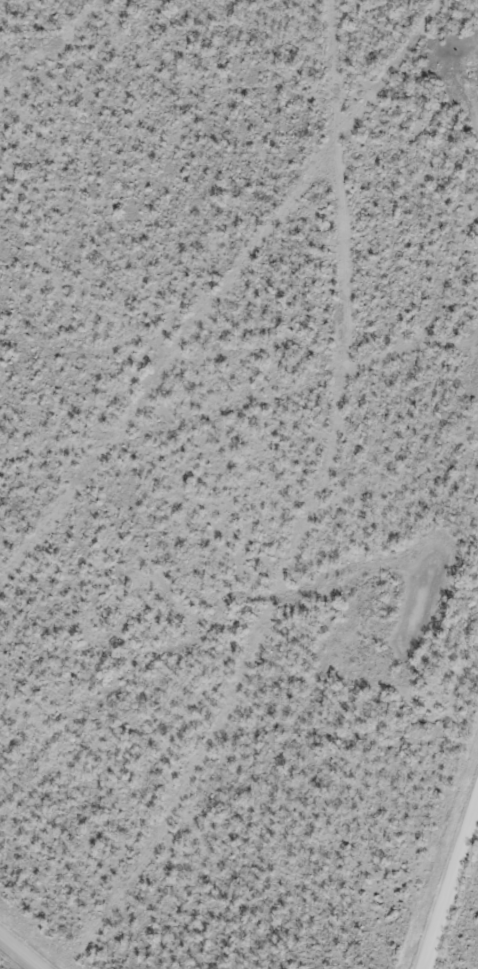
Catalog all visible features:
road: (447, 876)
road: (18, 953)

